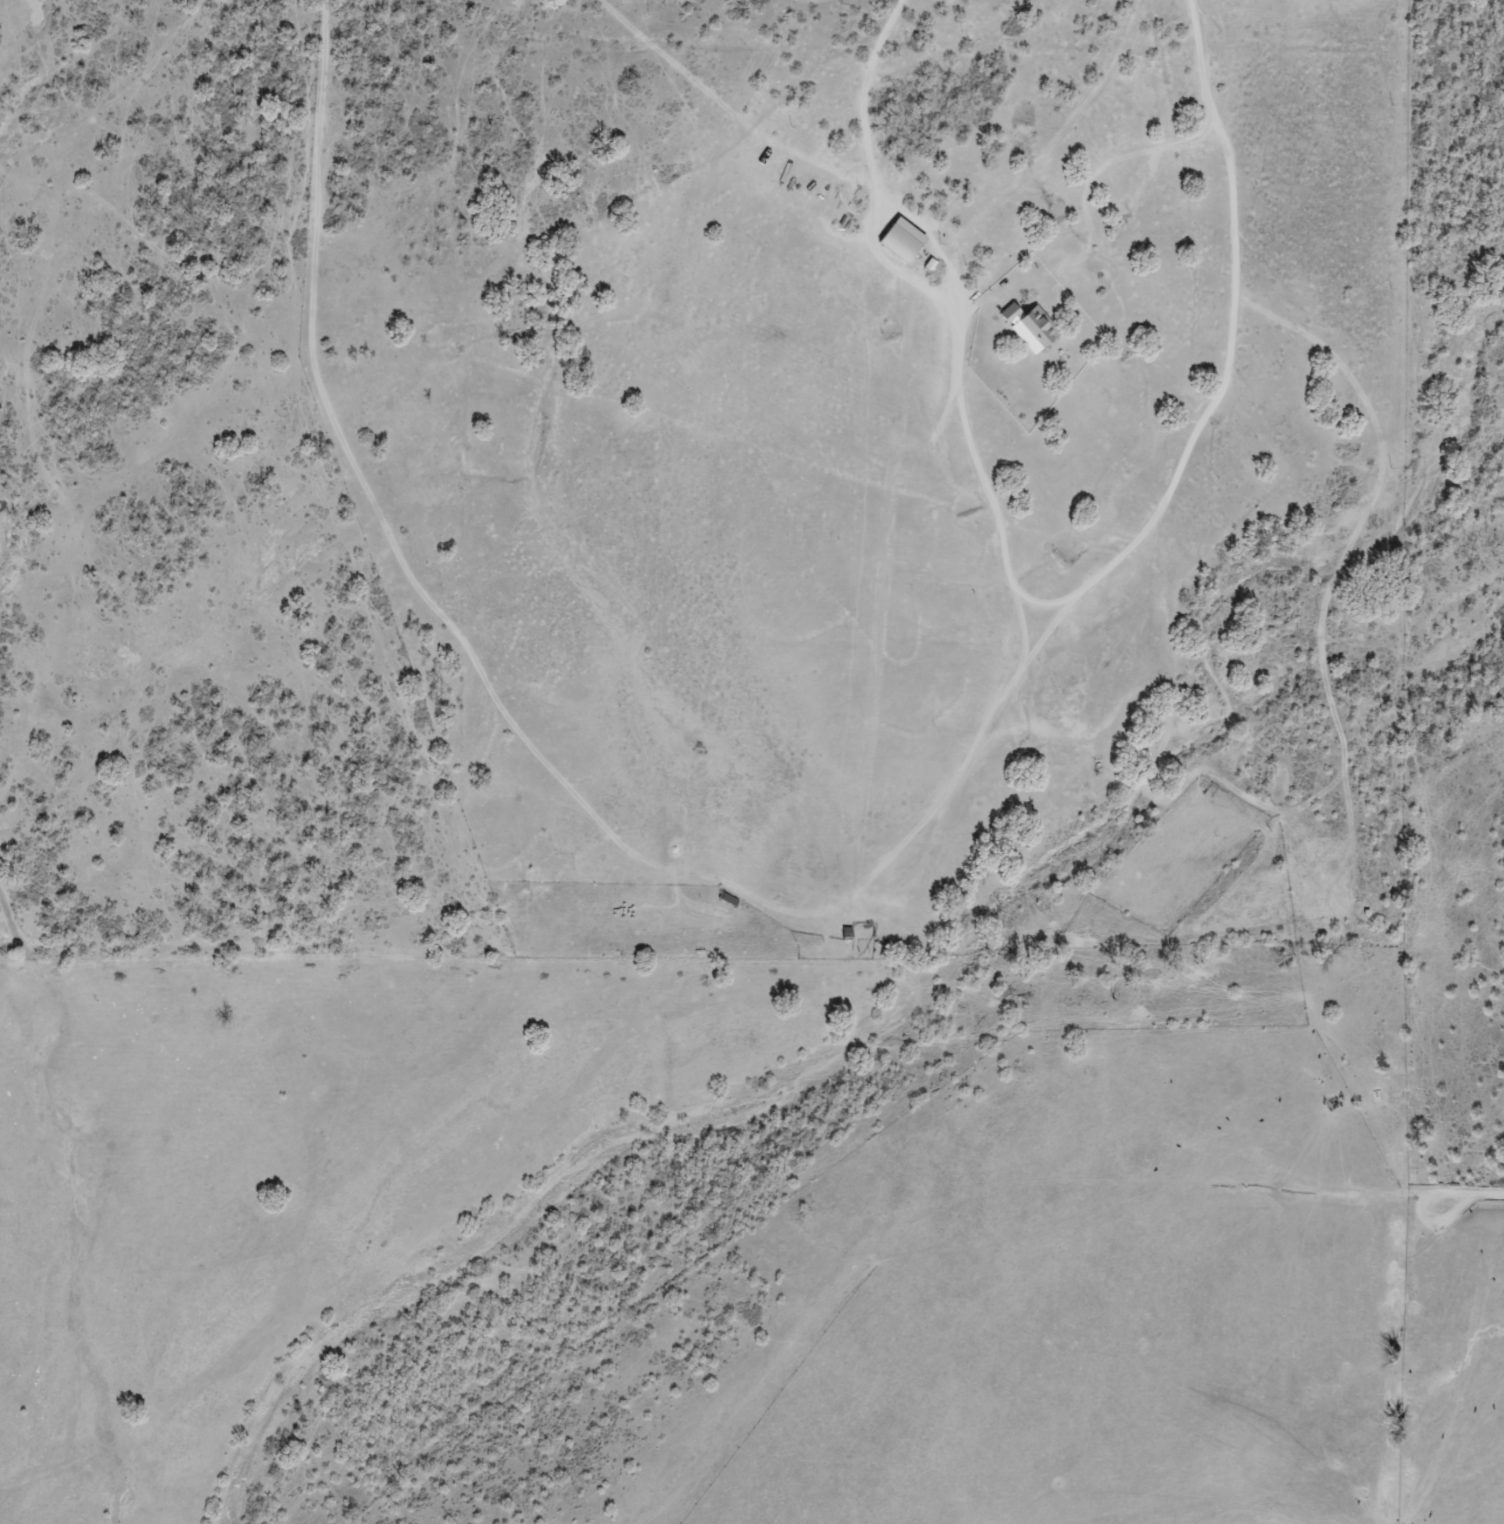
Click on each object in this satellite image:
road: (1161, 193)
building: (906, 241)
building: (1033, 328)

